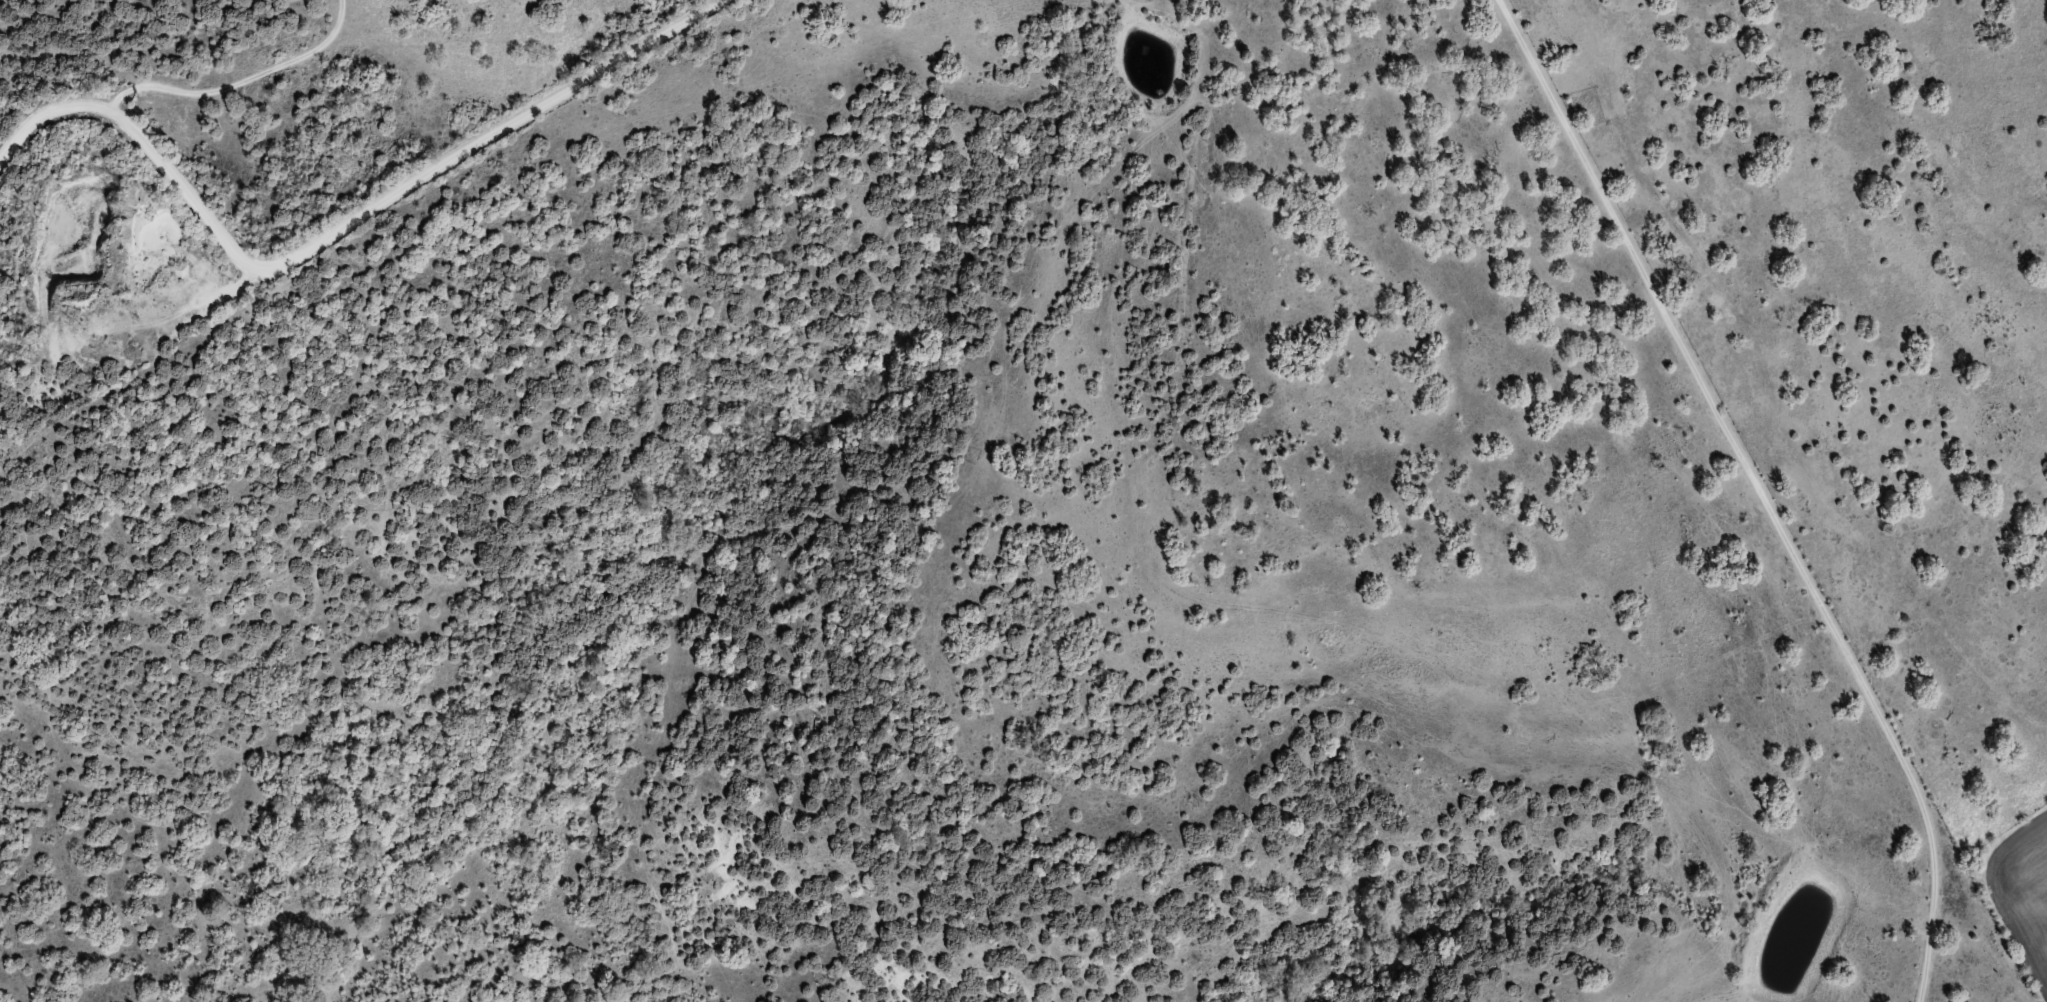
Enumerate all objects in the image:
park: (1585, 106)
road: (339, 227)
road: (1753, 499)

